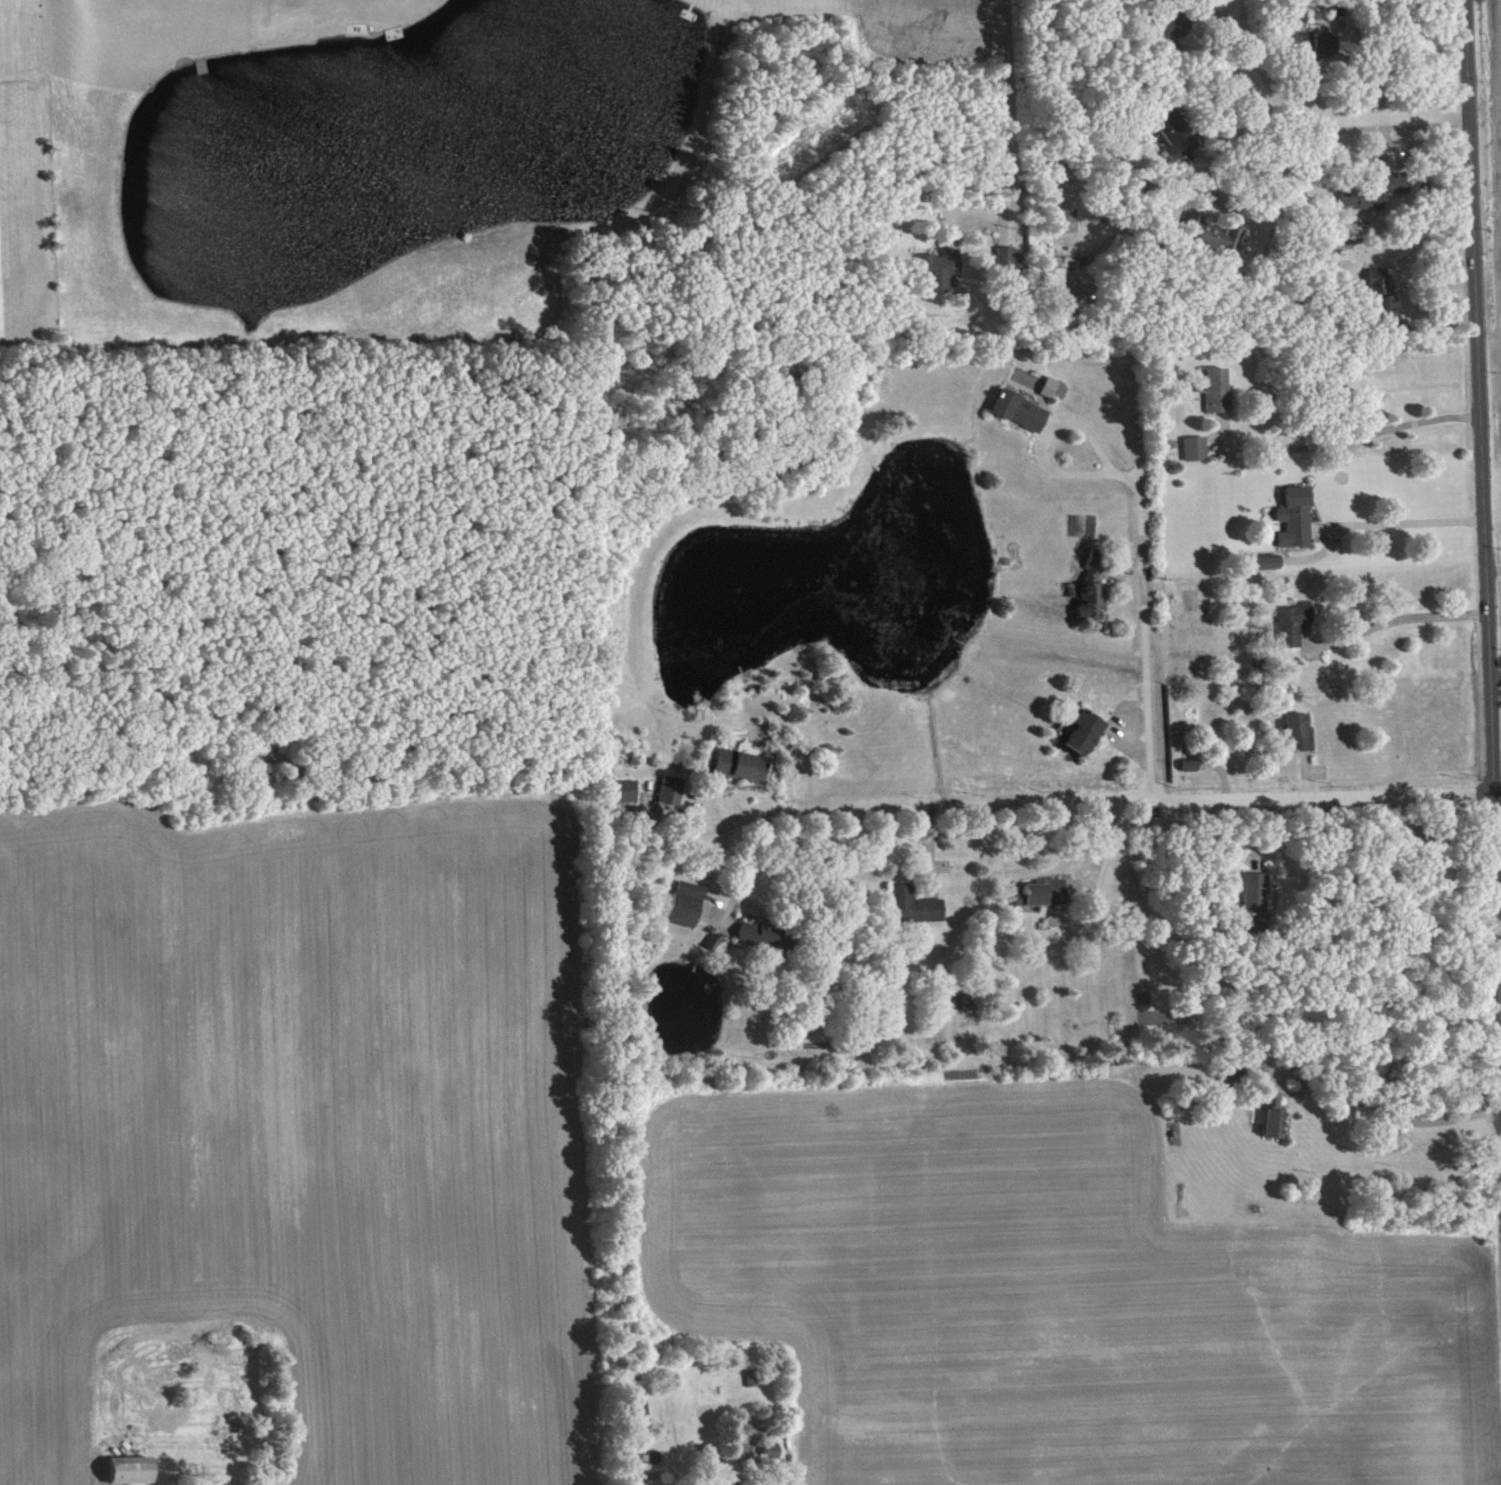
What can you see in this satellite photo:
building: (1172, 25)
building: (1311, 42)
road: (1009, 91)
road: (1200, 95)
road: (1316, 114)
building: (1176, 131)
building: (1368, 186)
road: (1220, 189)
crop: (1489, 196)
building: (1213, 233)
building: (1009, 253)
building: (942, 269)
building: (1050, 291)
building: (1378, 296)
building: (1051, 386)
building: (1213, 387)
building: (1013, 409)
road: (1347, 437)
road: (1133, 438)
building: (1192, 446)
road: (1040, 449)
building: (1291, 517)
road: (1482, 521)
road: (1402, 522)
building: (1266, 562)
building: (1088, 589)
road: (1395, 616)
building: (1290, 622)
road: (1496, 675)
road: (1149, 691)
building: (1080, 731)
building: (1294, 732)
building: (744, 765)
building: (625, 790)
building: (674, 790)
road: (1101, 802)
road: (744, 866)
building: (1040, 890)
building: (688, 903)
building: (1257, 903)
building: (915, 905)
building: (767, 936)
building: (717, 940)
road: (1500, 1015)
building: (1235, 1075)
road: (1373, 1107)
building: (1270, 1112)
crop: (1054, 1296)
building: (754, 1378)
building: (643, 1413)
building: (133, 1469)
building: (734, 1484)

